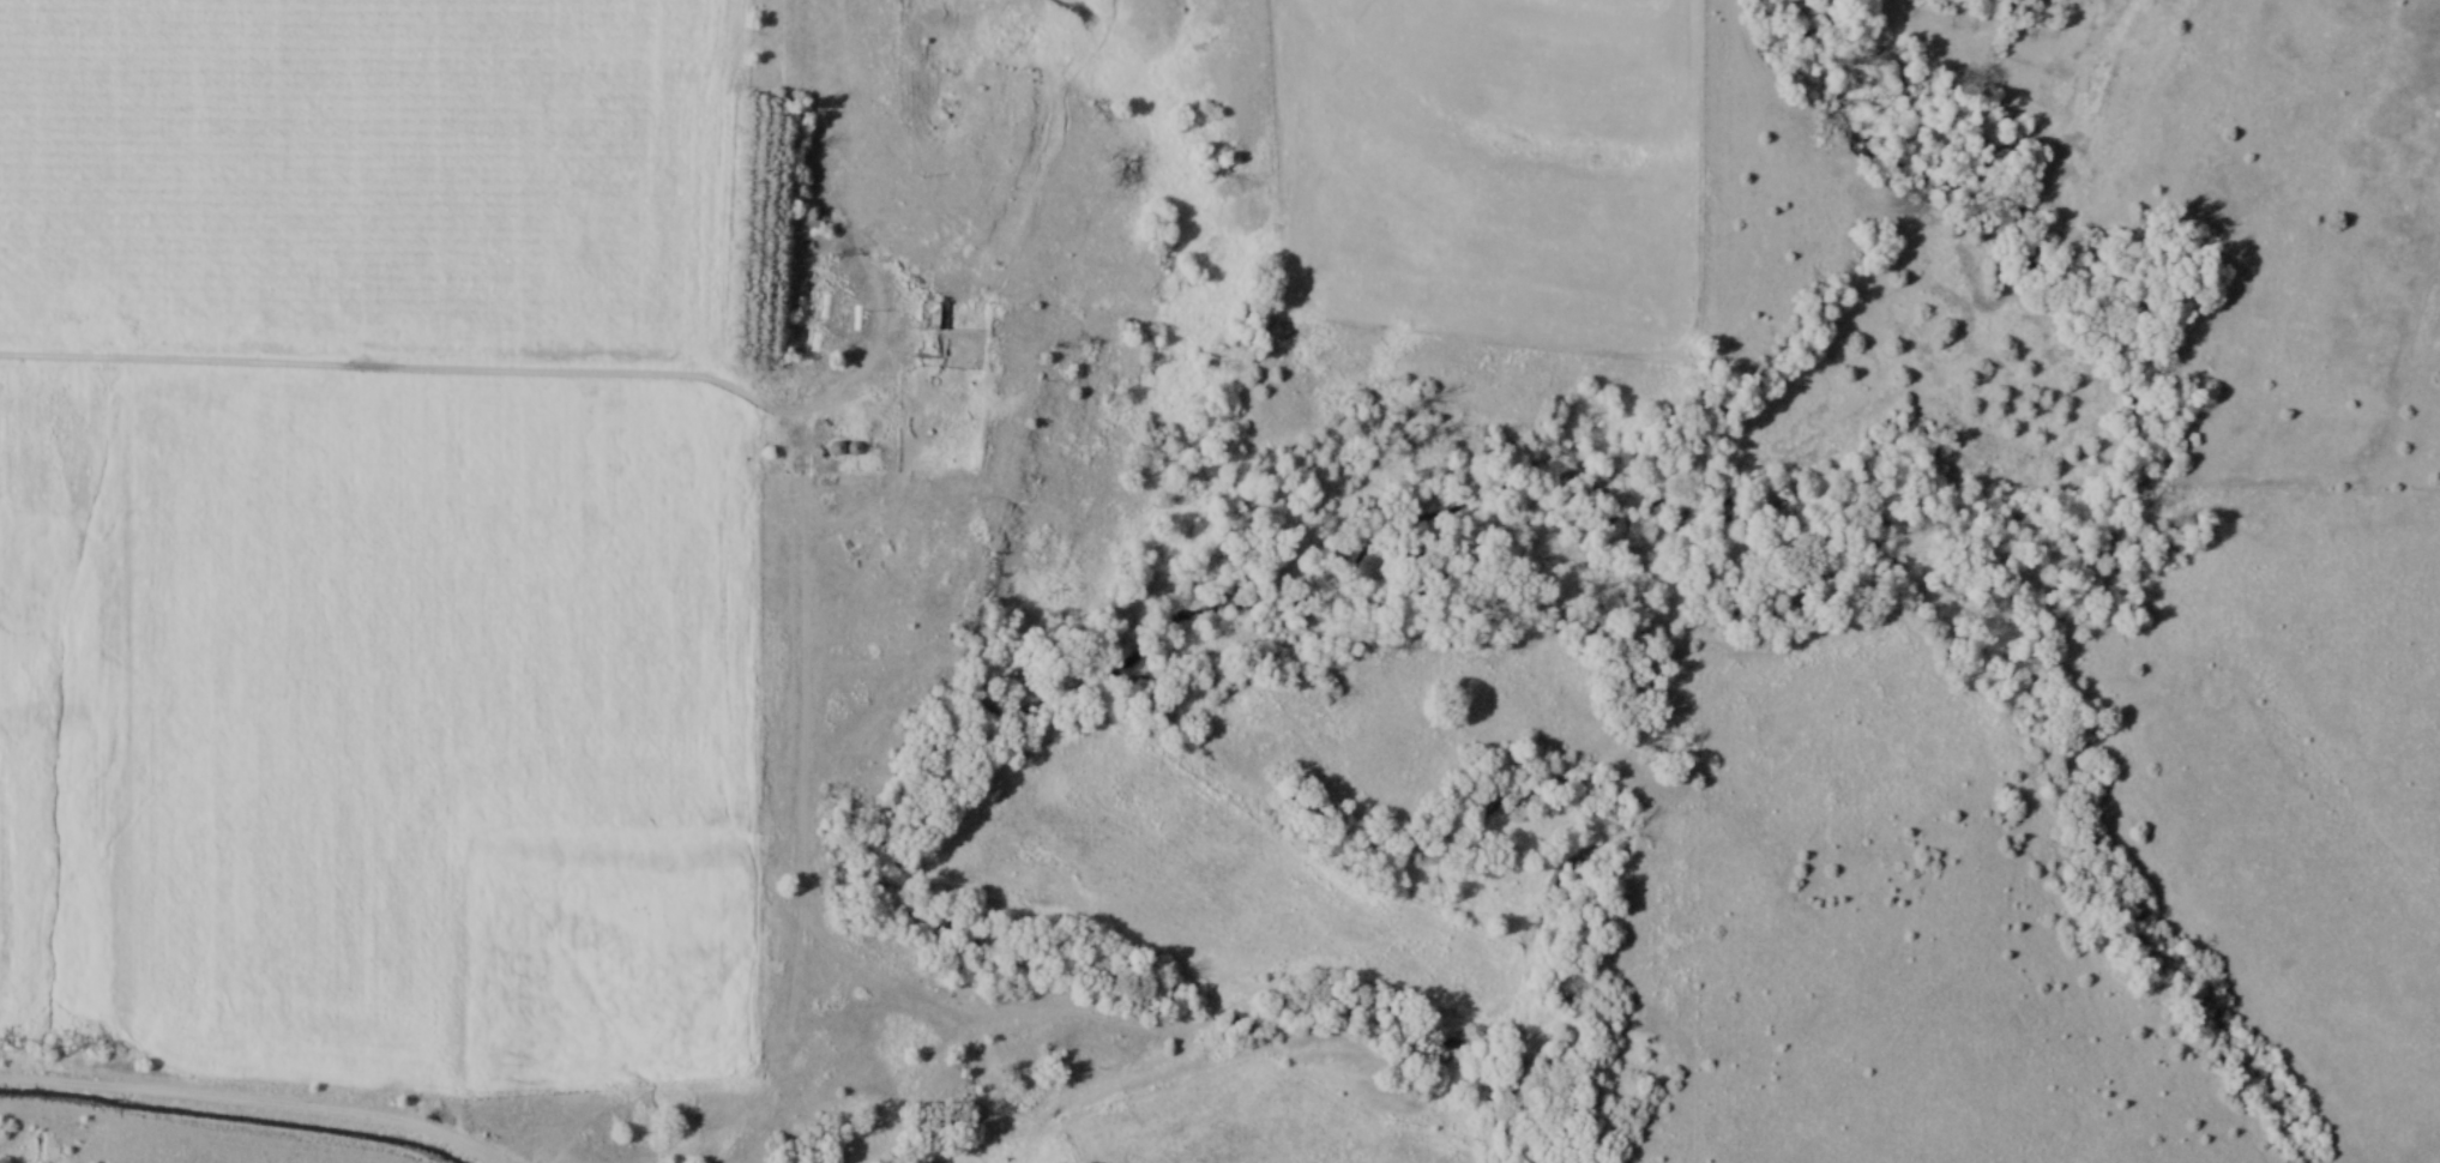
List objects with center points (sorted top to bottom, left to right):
building: (938, 317)
road: (406, 366)
building: (841, 451)

